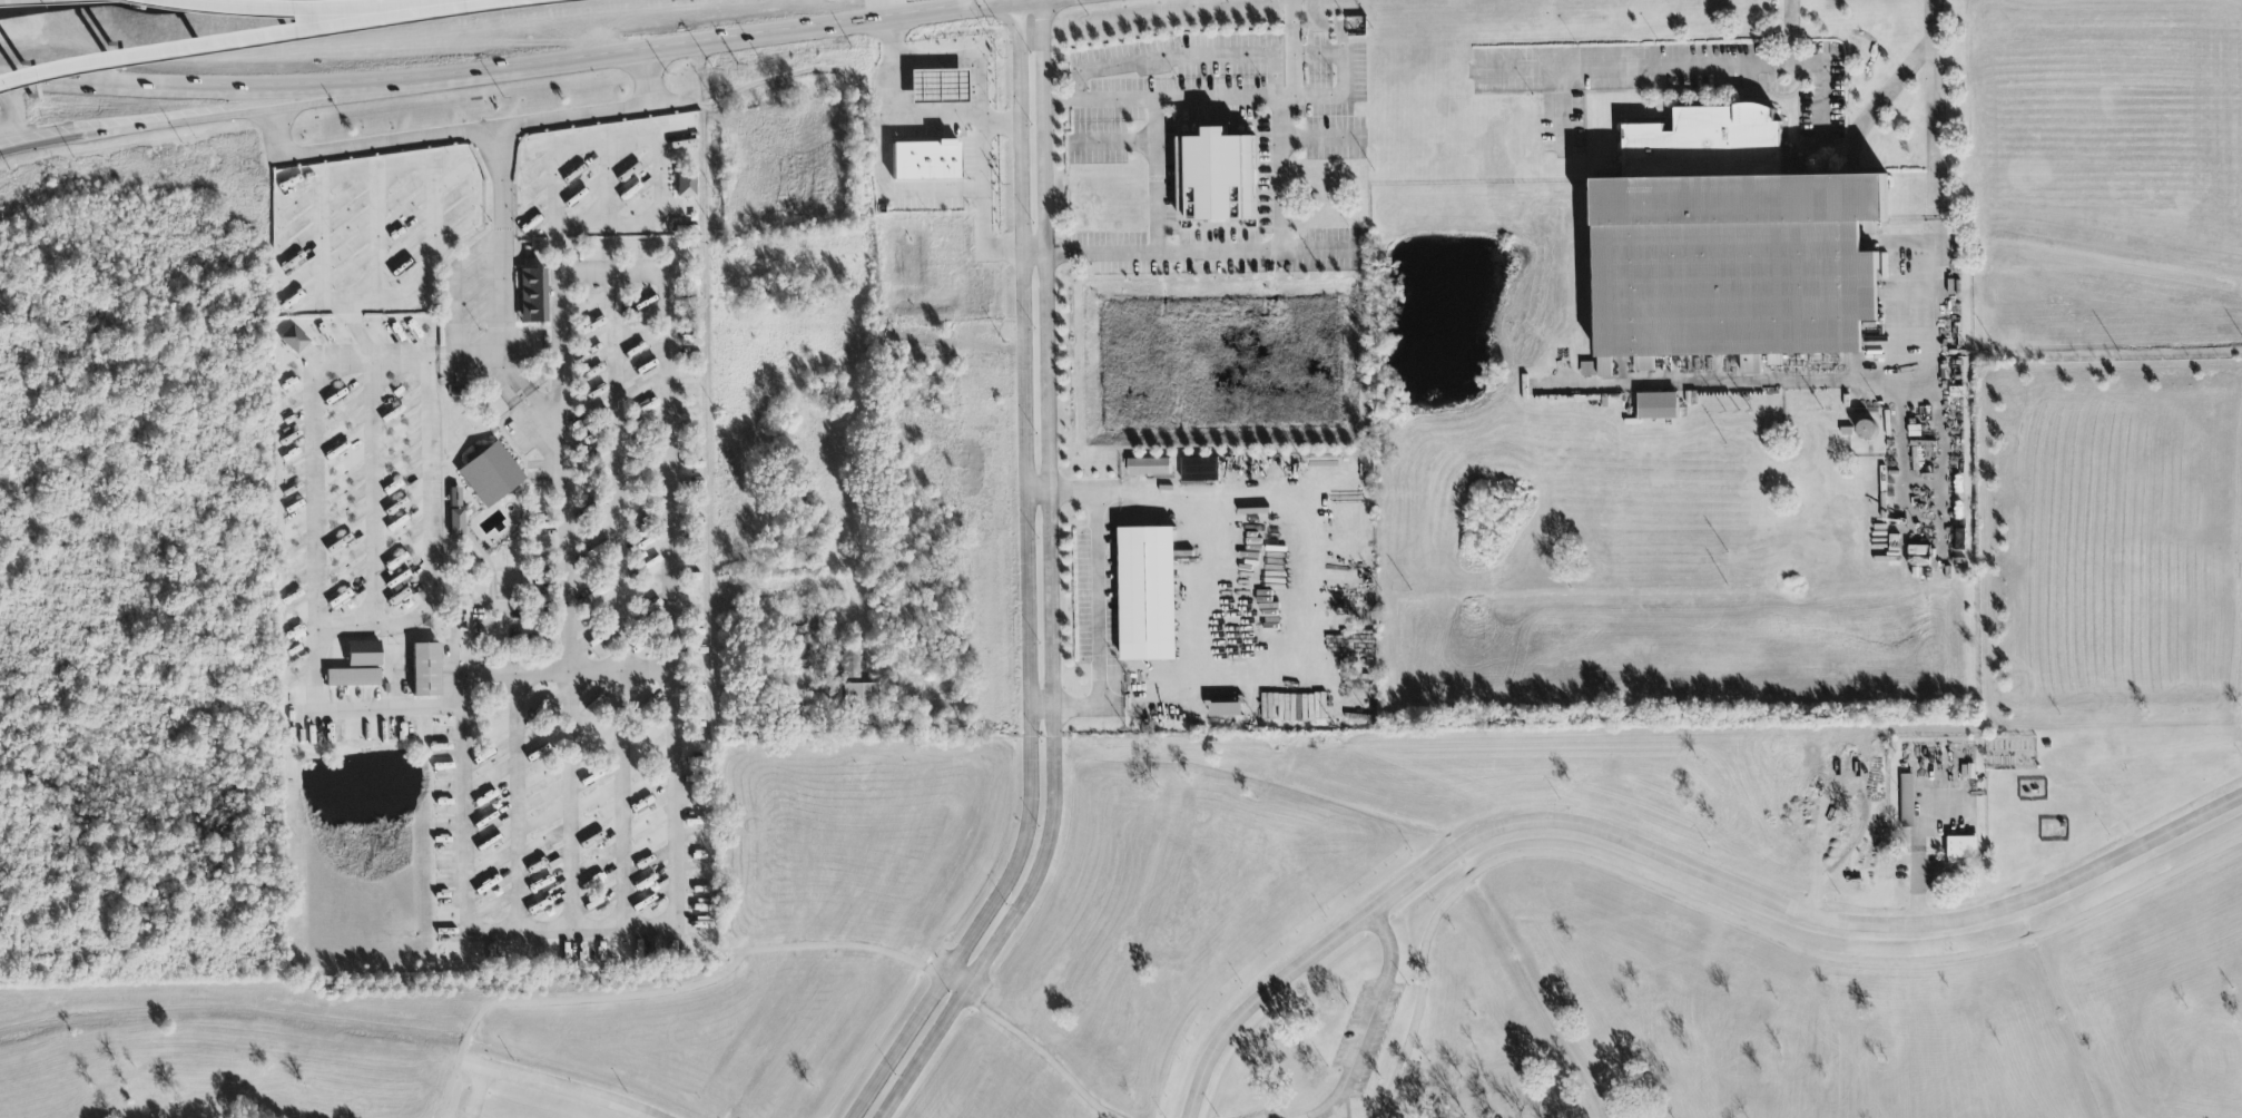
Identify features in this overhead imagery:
road: (338, 6)
road: (1789, 32)
road: (234, 38)
road: (1291, 48)
road: (1321, 56)
road: (1173, 57)
road: (1340, 62)
road: (1687, 66)
road: (509, 68)
road: (967, 69)
road: (1074, 86)
building: (937, 88)
gas station: (937, 88)
road: (1193, 97)
road: (327, 100)
road: (1880, 100)
road: (1561, 112)
road: (135, 128)
road: (464, 136)
road: (1321, 136)
road: (637, 138)
road: (1110, 144)
road: (981, 145)
road: (1277, 153)
building: (925, 161)
road: (376, 169)
road: (1154, 175)
building: (1217, 177)
road: (608, 184)
building: (686, 186)
road: (888, 199)
road: (1208, 252)
road: (1035, 254)
building: (1733, 263)
road: (643, 273)
building: (532, 294)
building: (294, 341)
road: (508, 346)
road: (423, 360)
building: (1774, 360)
building: (1752, 364)
road: (1564, 370)
road: (1917, 382)
building: (1655, 404)
road: (533, 411)
building: (1150, 467)
building: (1201, 469)
building: (490, 475)
road: (1040, 487)
road: (371, 494)
building: (454, 498)
building: (455, 522)
road: (1052, 581)
road: (1031, 582)
road: (1209, 587)
road: (1309, 591)
road: (1099, 592)
building: (1149, 594)
road: (573, 599)
building: (816, 620)
road: (673, 625)
building: (802, 654)
building: (363, 655)
building: (848, 665)
building: (425, 670)
building: (352, 678)
road: (449, 685)
building: (859, 704)
road: (1044, 705)
building: (1227, 709)
road: (629, 748)
road: (1835, 795)
building: (1908, 801)
road: (465, 802)
road: (1924, 821)
building: (1963, 847)
road: (1669, 857)
road: (1916, 890)
park: (1423, 893)
road: (1730, 919)
road: (493, 929)
road: (962, 980)
road: (665, 992)
road: (1370, 1021)
parking lot: (1368, 1032)
road: (1043, 1055)
road: (554, 1087)
road: (479, 1094)
road: (1349, 1105)
parking lot: (1269, 1114)
road: (1320, 1117)

